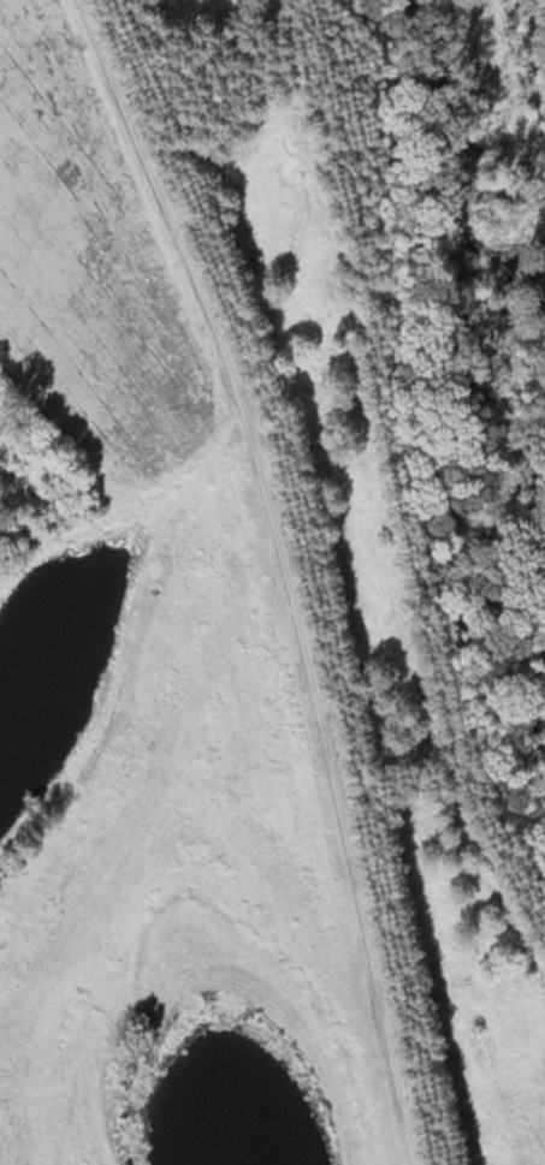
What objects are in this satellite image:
road: (280, 570)

